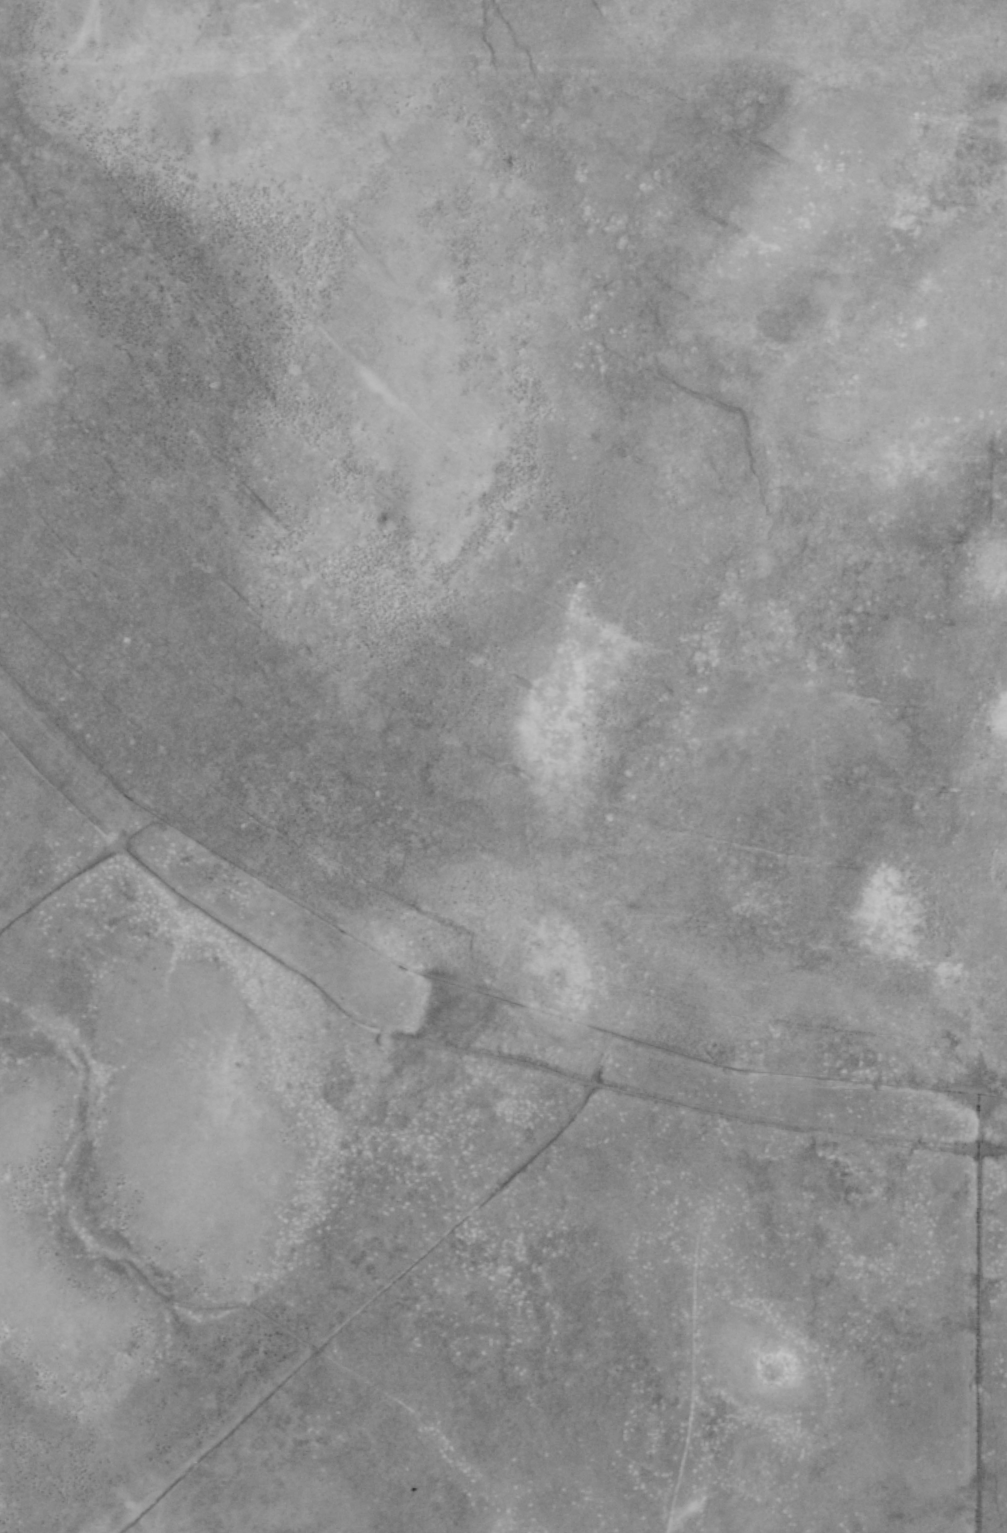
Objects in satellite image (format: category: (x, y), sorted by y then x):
crop: (503, 766)

